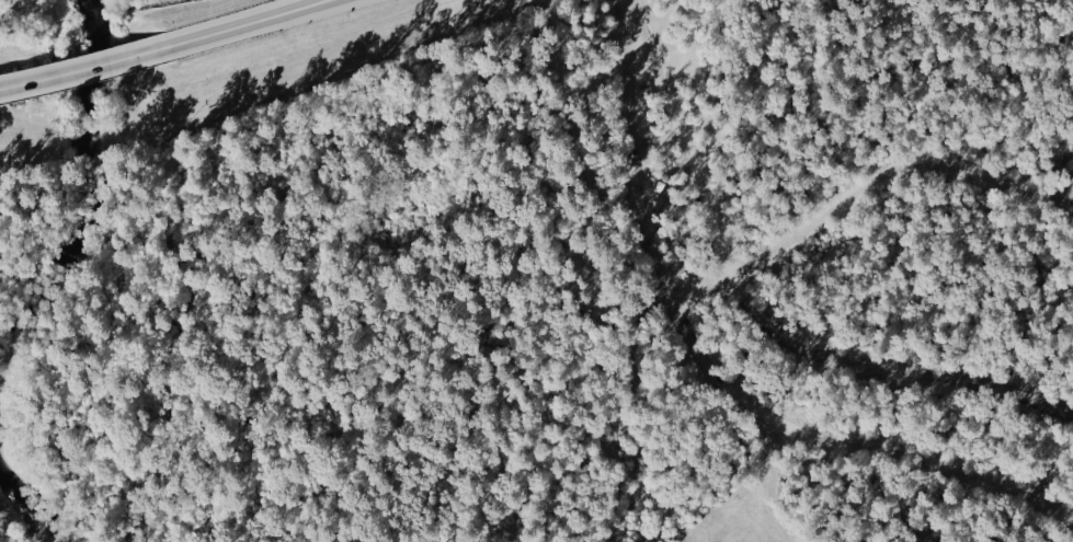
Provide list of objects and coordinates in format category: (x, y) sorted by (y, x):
road: (627, 19)
road: (266, 23)
road: (92, 70)
road: (659, 141)
road: (695, 166)
road: (629, 182)
river: (96, 186)
building: (651, 187)
road: (644, 188)
road: (671, 201)
road: (704, 288)
road: (551, 355)
road: (901, 372)
road: (859, 443)
river: (35, 501)

